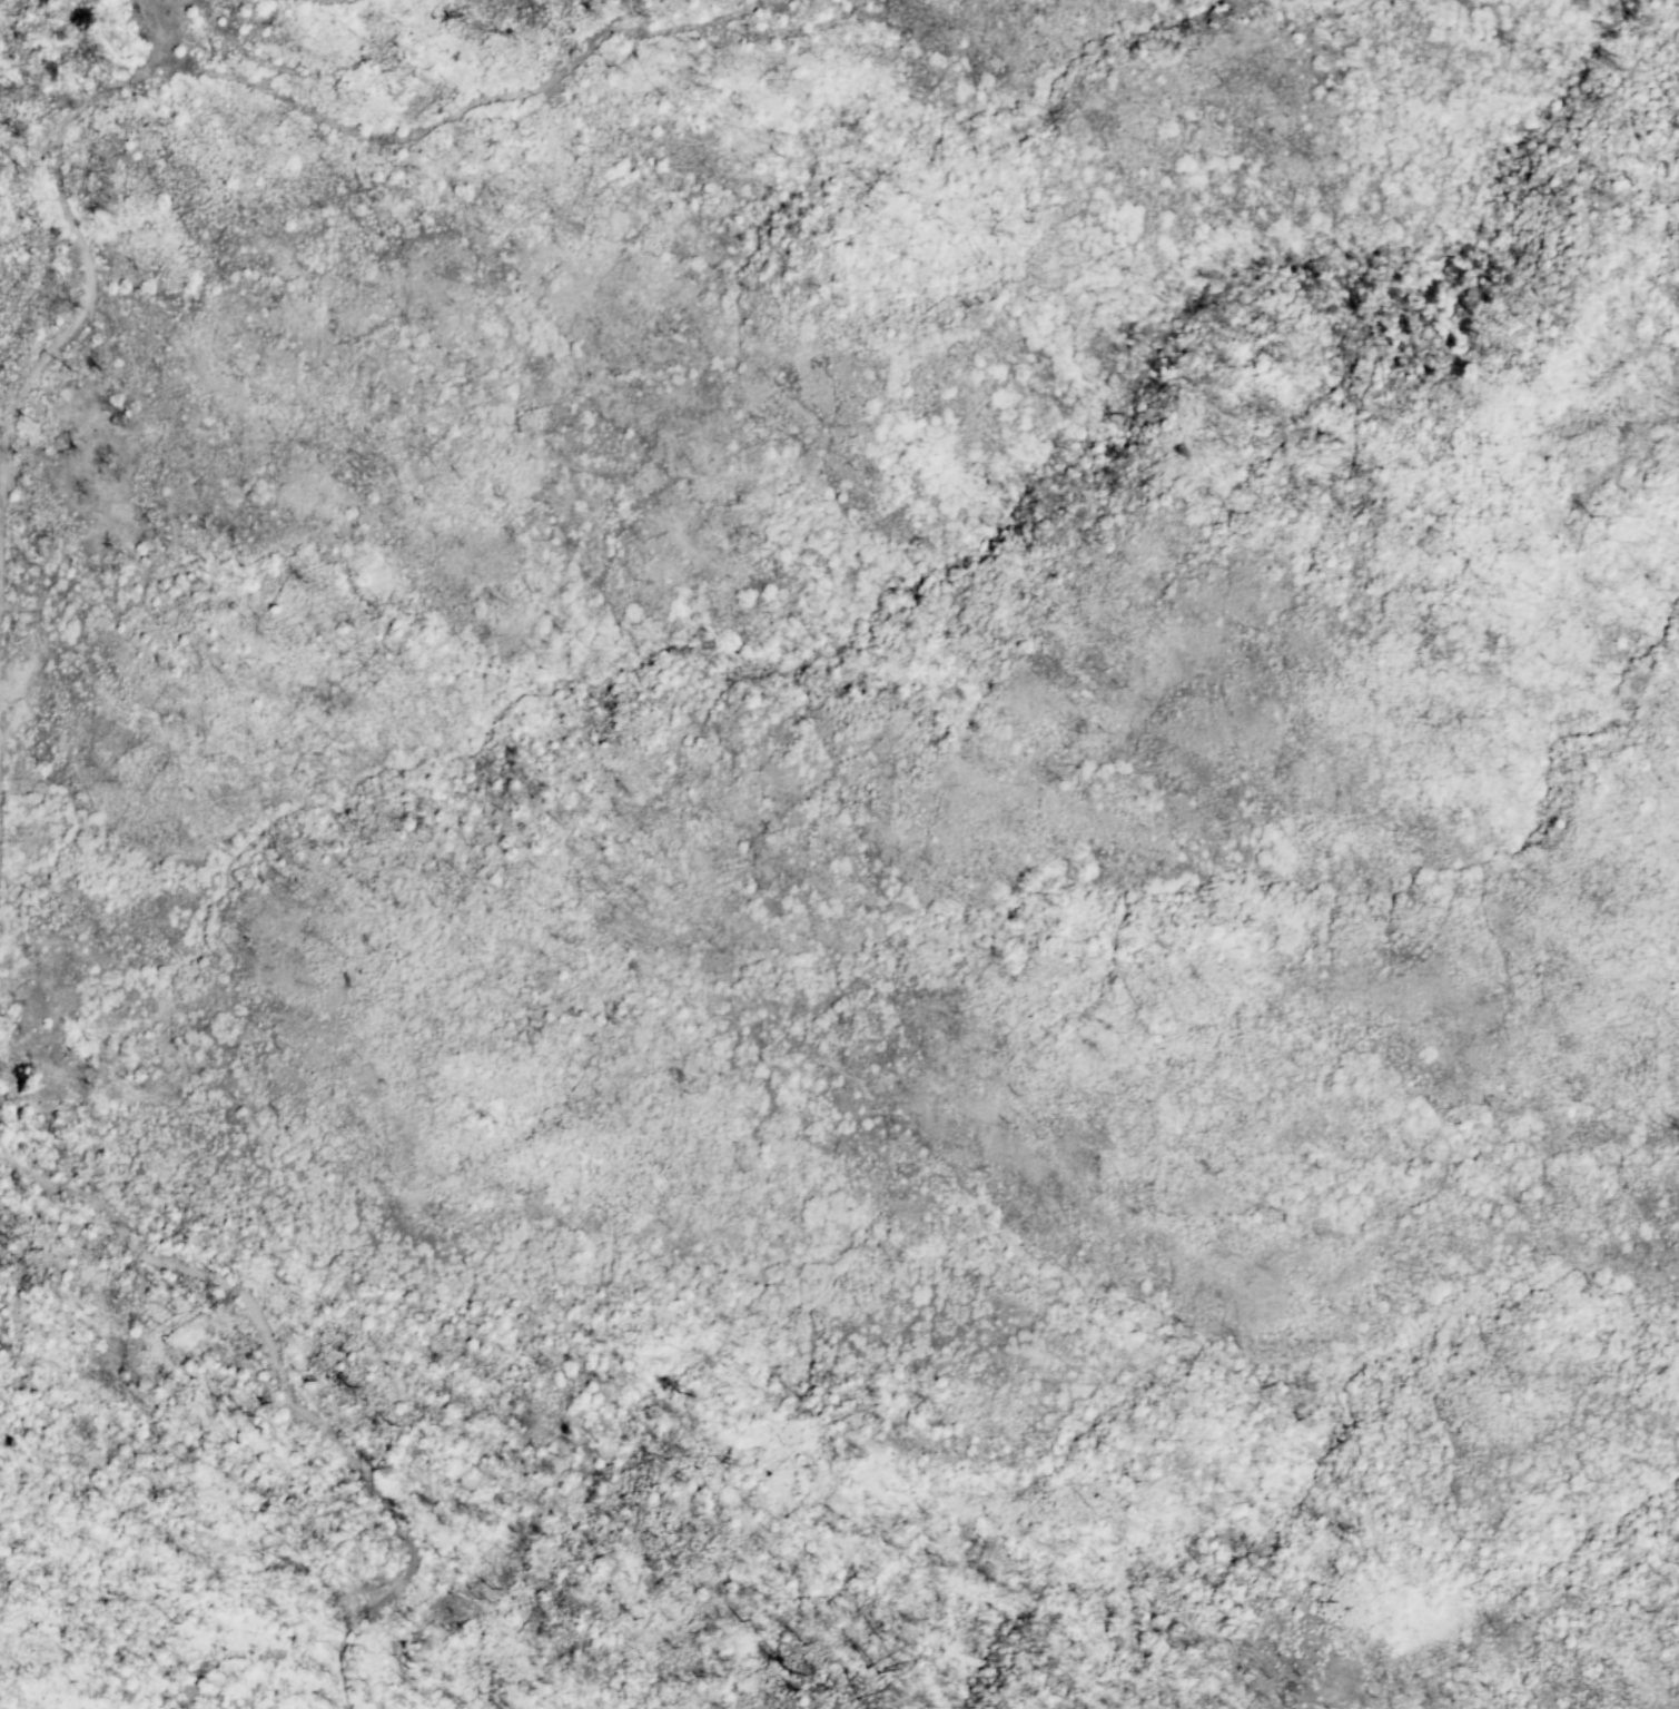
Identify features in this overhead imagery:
road: (17, 747)
road: (296, 1389)

